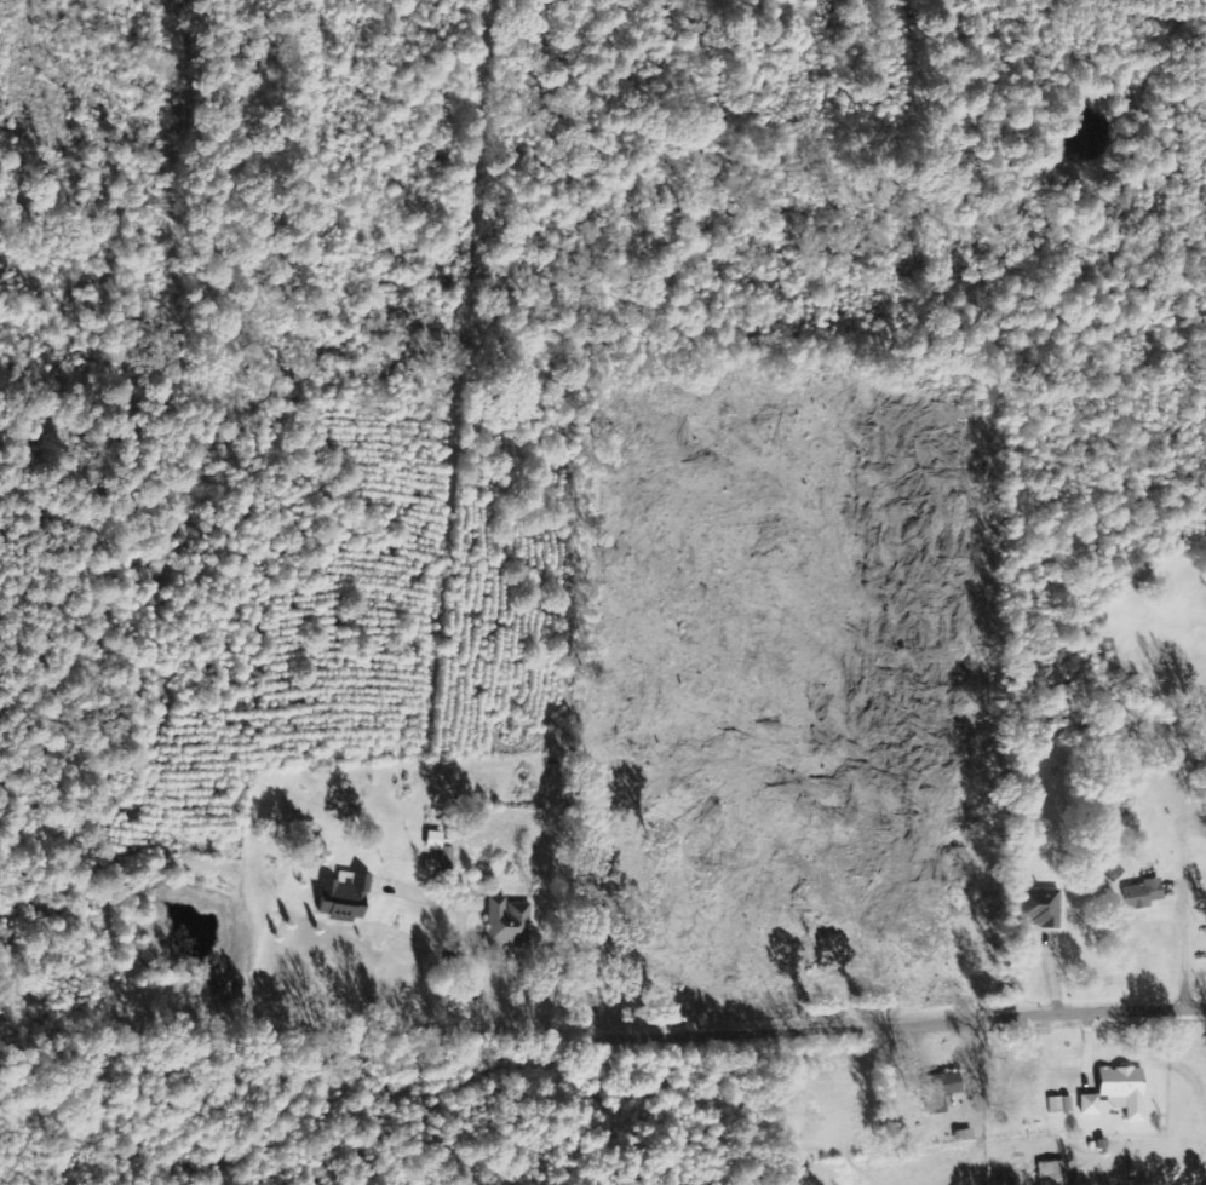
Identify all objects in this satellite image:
building: (1143, 894)
building: (346, 897)
building: (1041, 908)
building: (510, 922)
road: (897, 1029)
building: (941, 1091)
building: (1126, 1091)
building: (1056, 1105)
building: (1091, 1105)
building: (1055, 1172)

